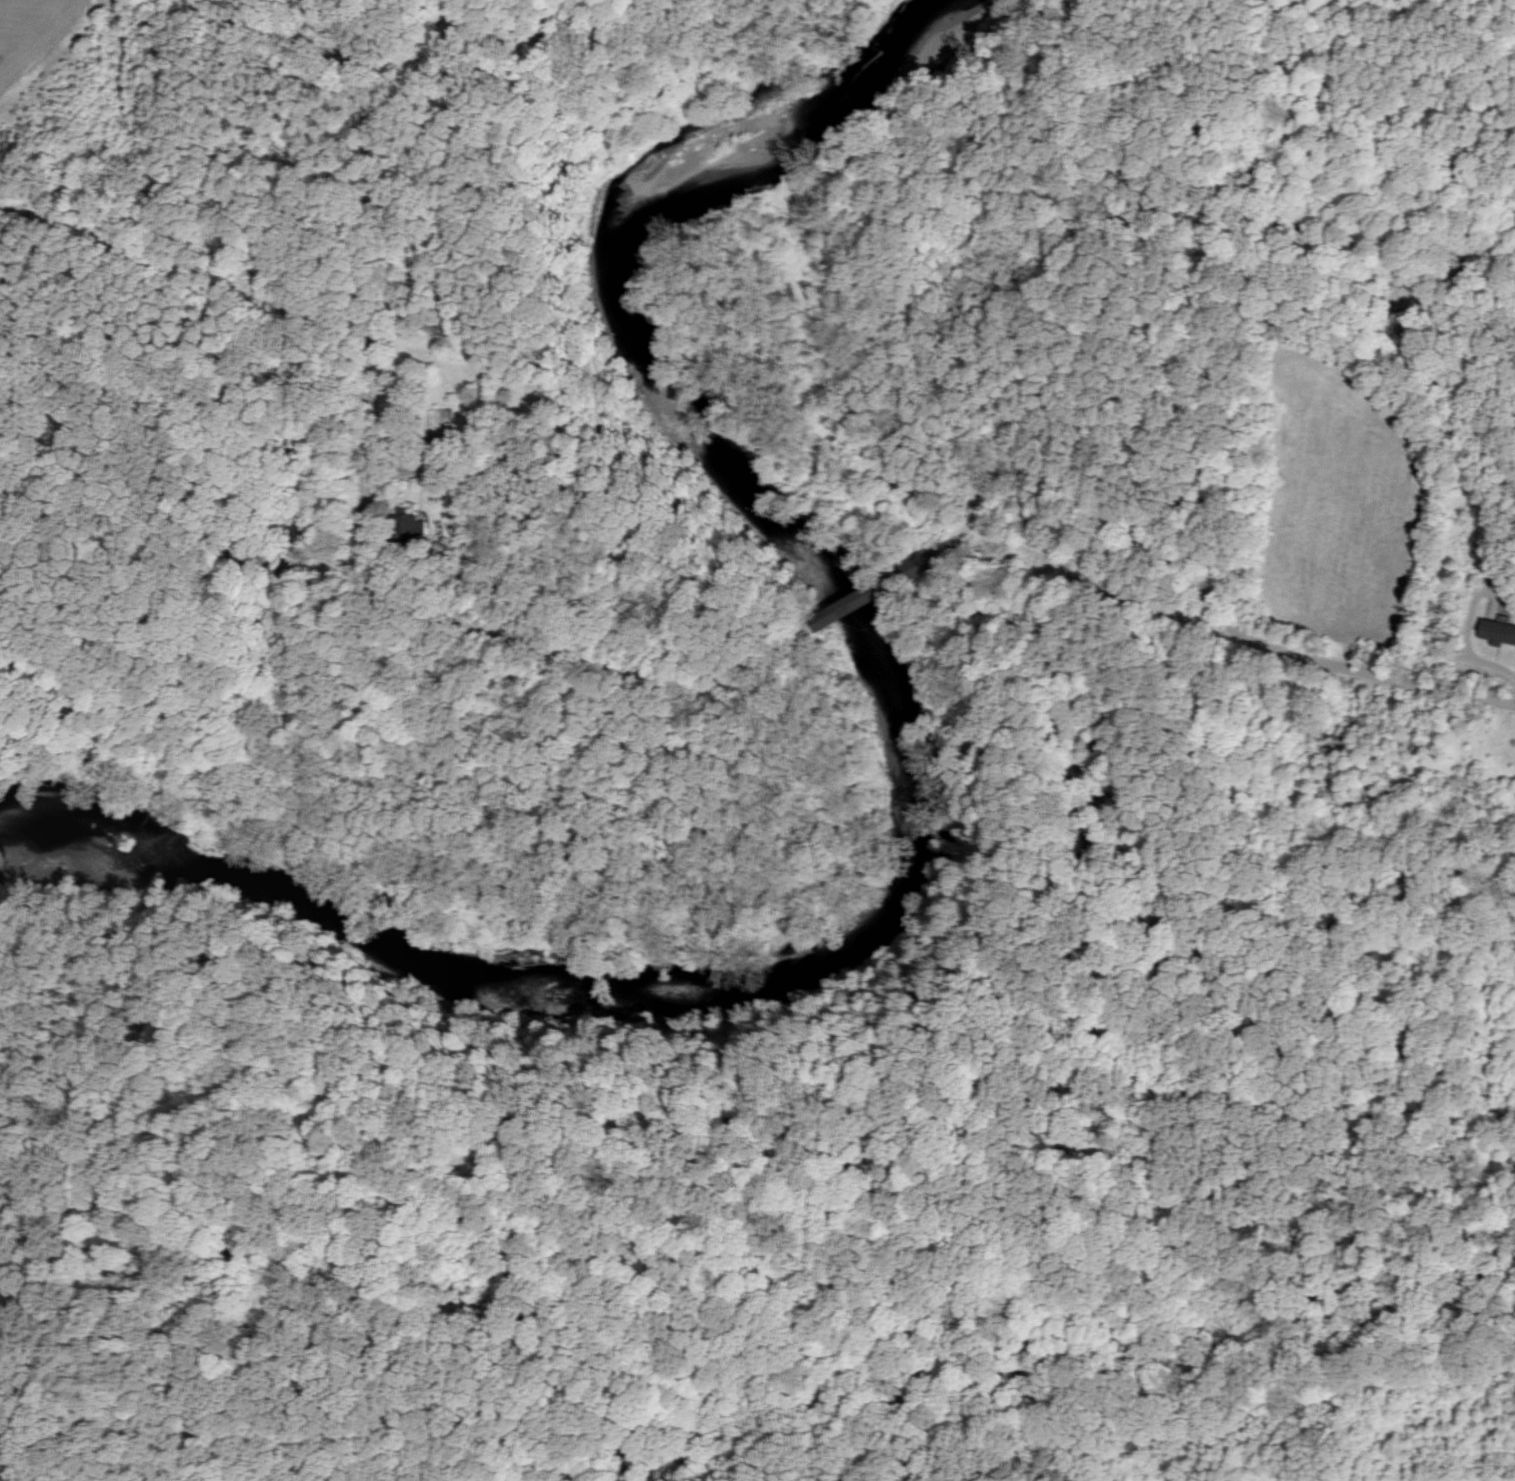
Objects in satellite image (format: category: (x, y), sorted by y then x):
road: (118, 59)
road: (360, 197)
road: (1196, 579)
building: (854, 602)
road: (868, 605)
building: (1498, 632)
road: (537, 655)
river: (906, 782)

